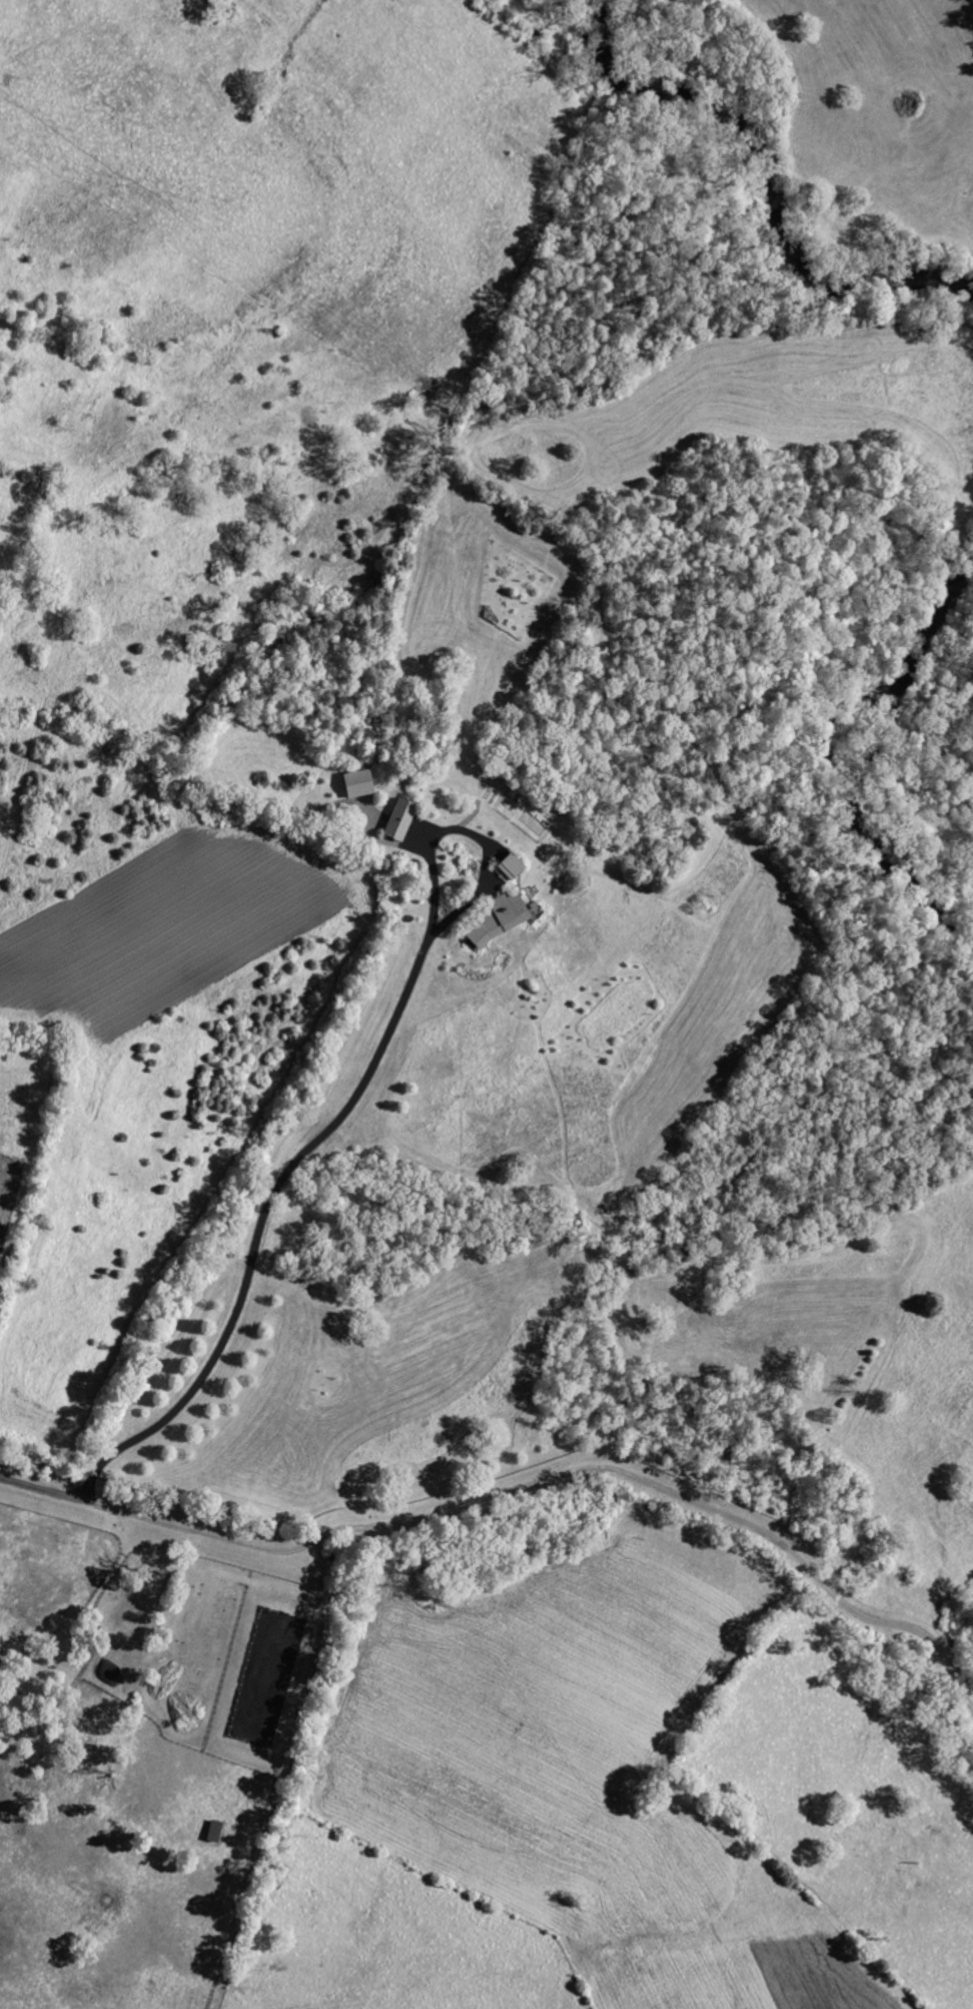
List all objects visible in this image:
building: (356, 785)
building: (398, 821)
building: (509, 867)
building: (497, 920)
road: (336, 1117)
road: (564, 1463)
road: (38, 1485)
building: (213, 1831)

